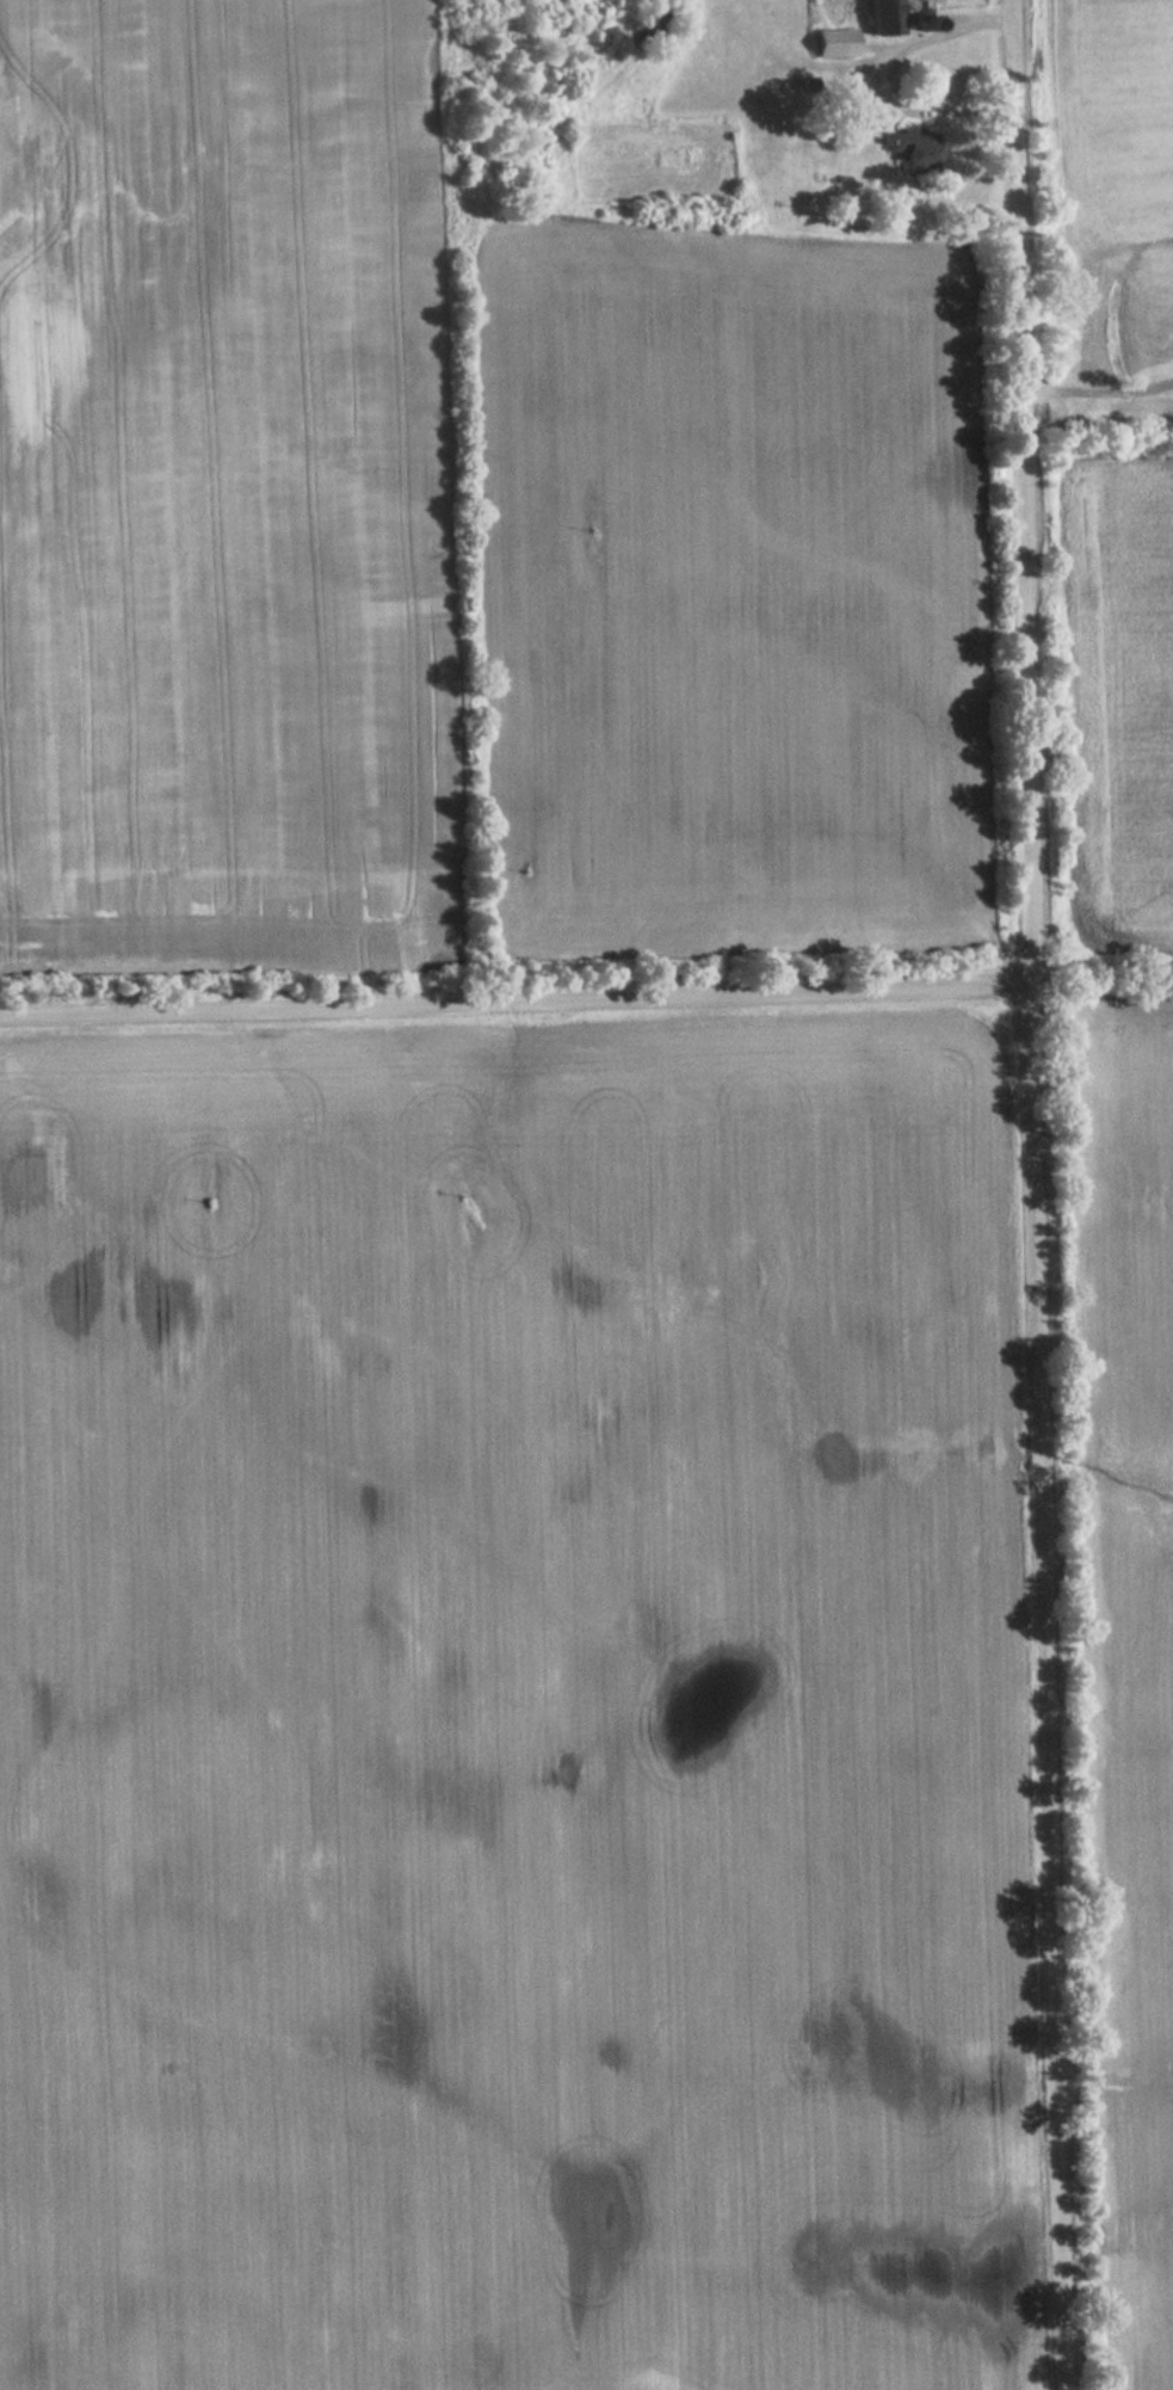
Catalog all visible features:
building: (885, 18)
building: (836, 42)
road: (895, 70)
building: (918, 150)
road: (1098, 390)
road: (517, 1000)
road: (1038, 1195)

